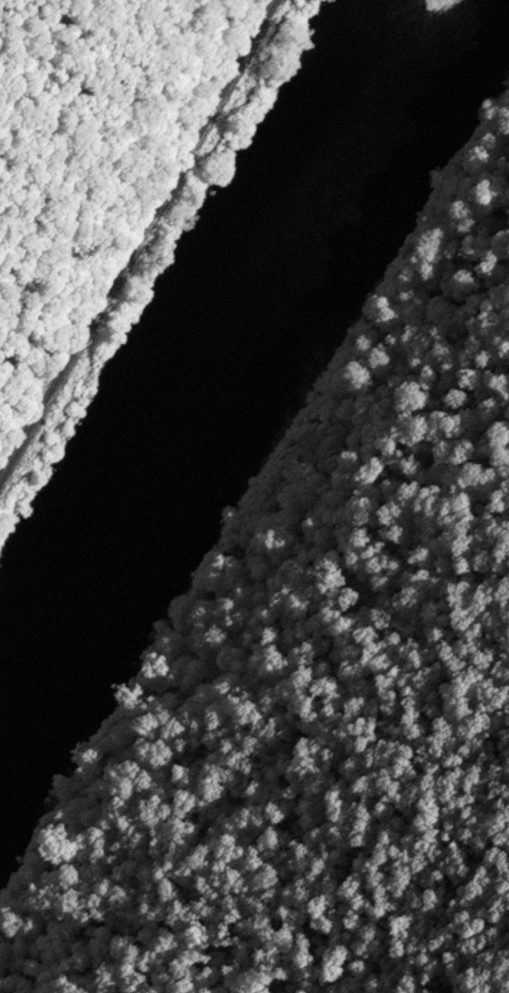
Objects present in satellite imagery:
railway: (134, 235)
river: (218, 374)

